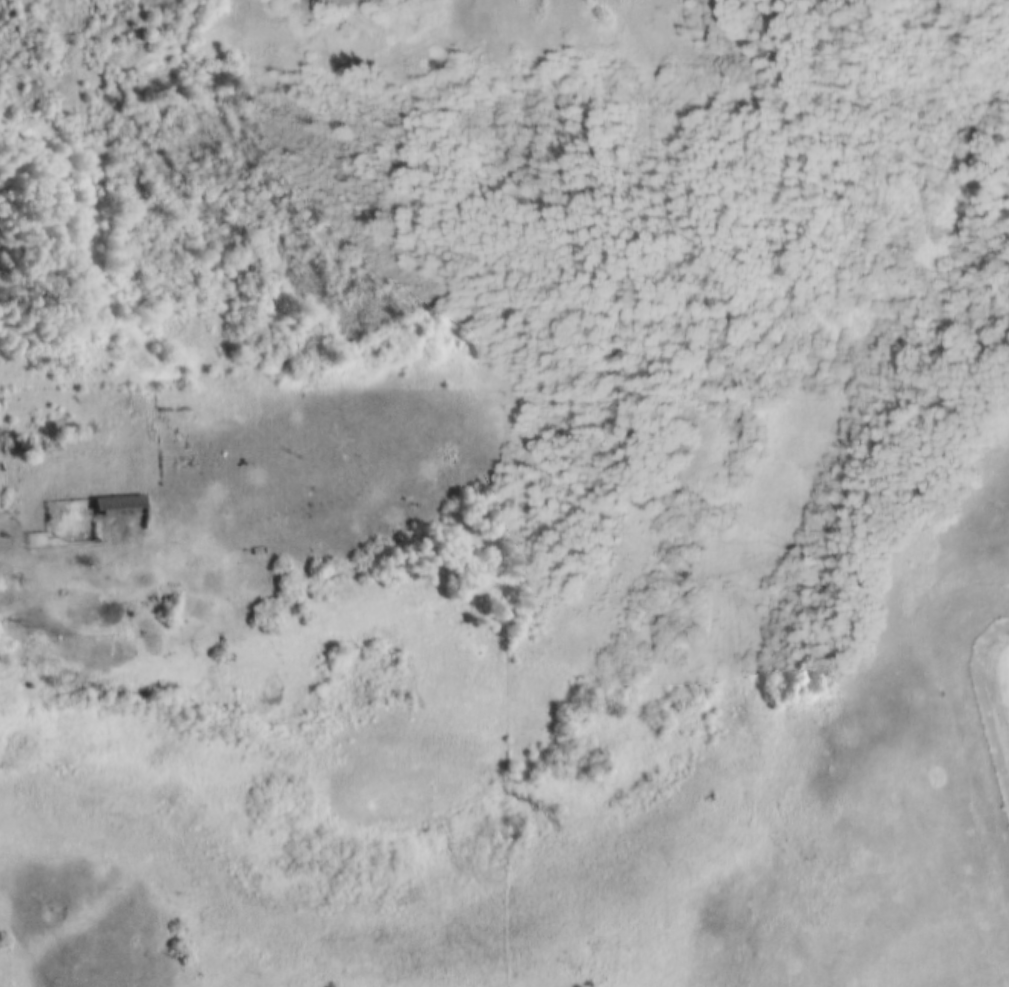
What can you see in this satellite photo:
building: (23, 441)
building: (115, 501)
road: (92, 583)

